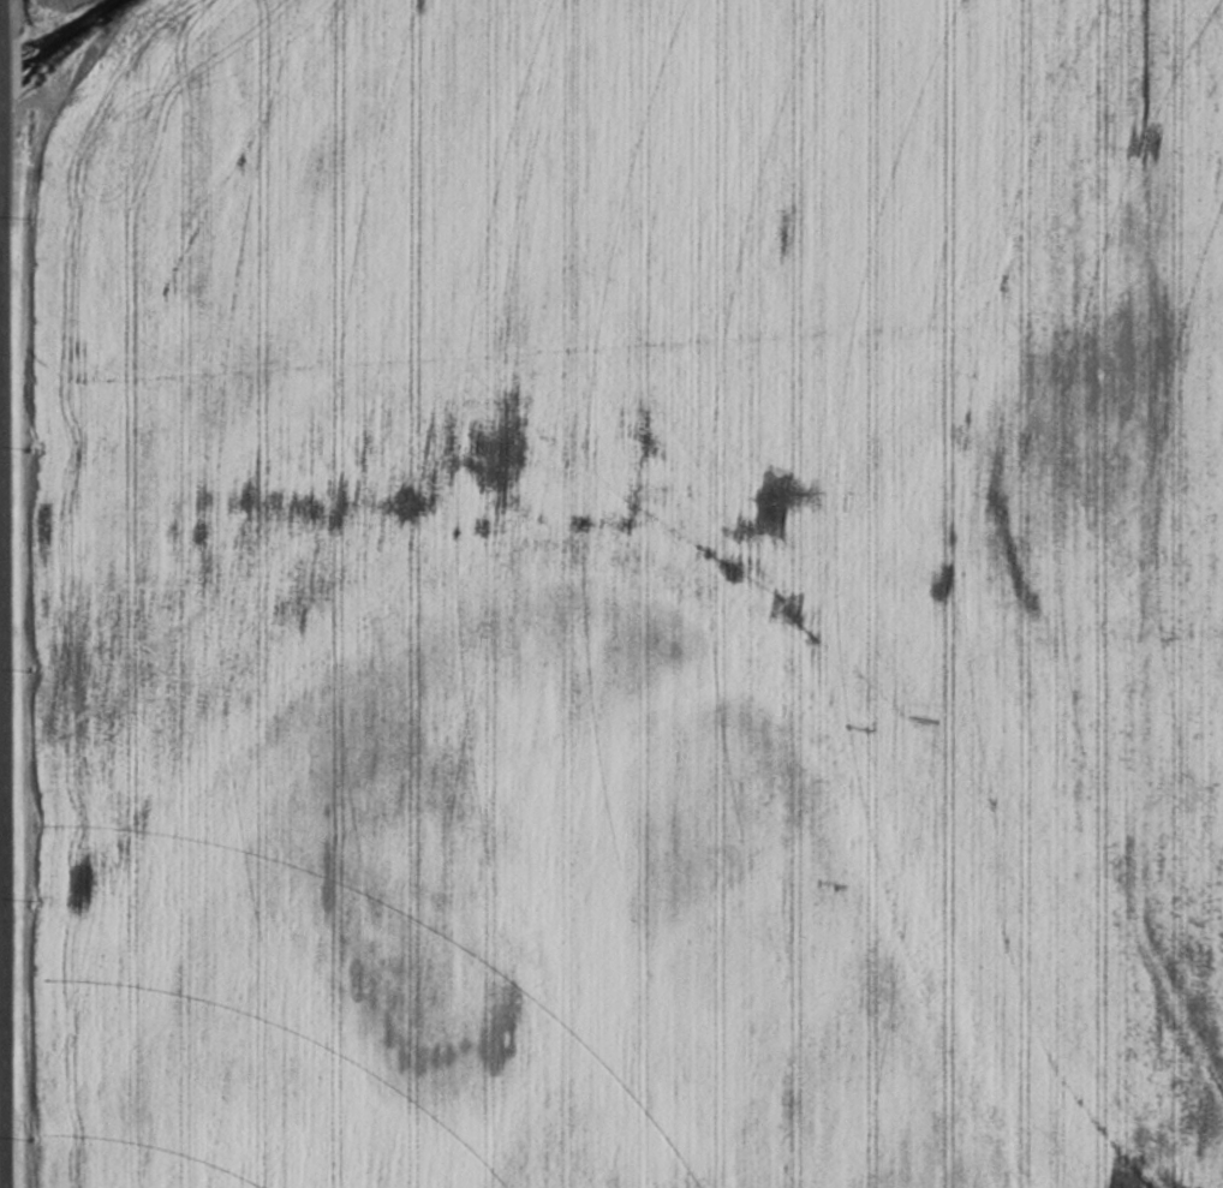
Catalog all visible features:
road: (4, 593)

